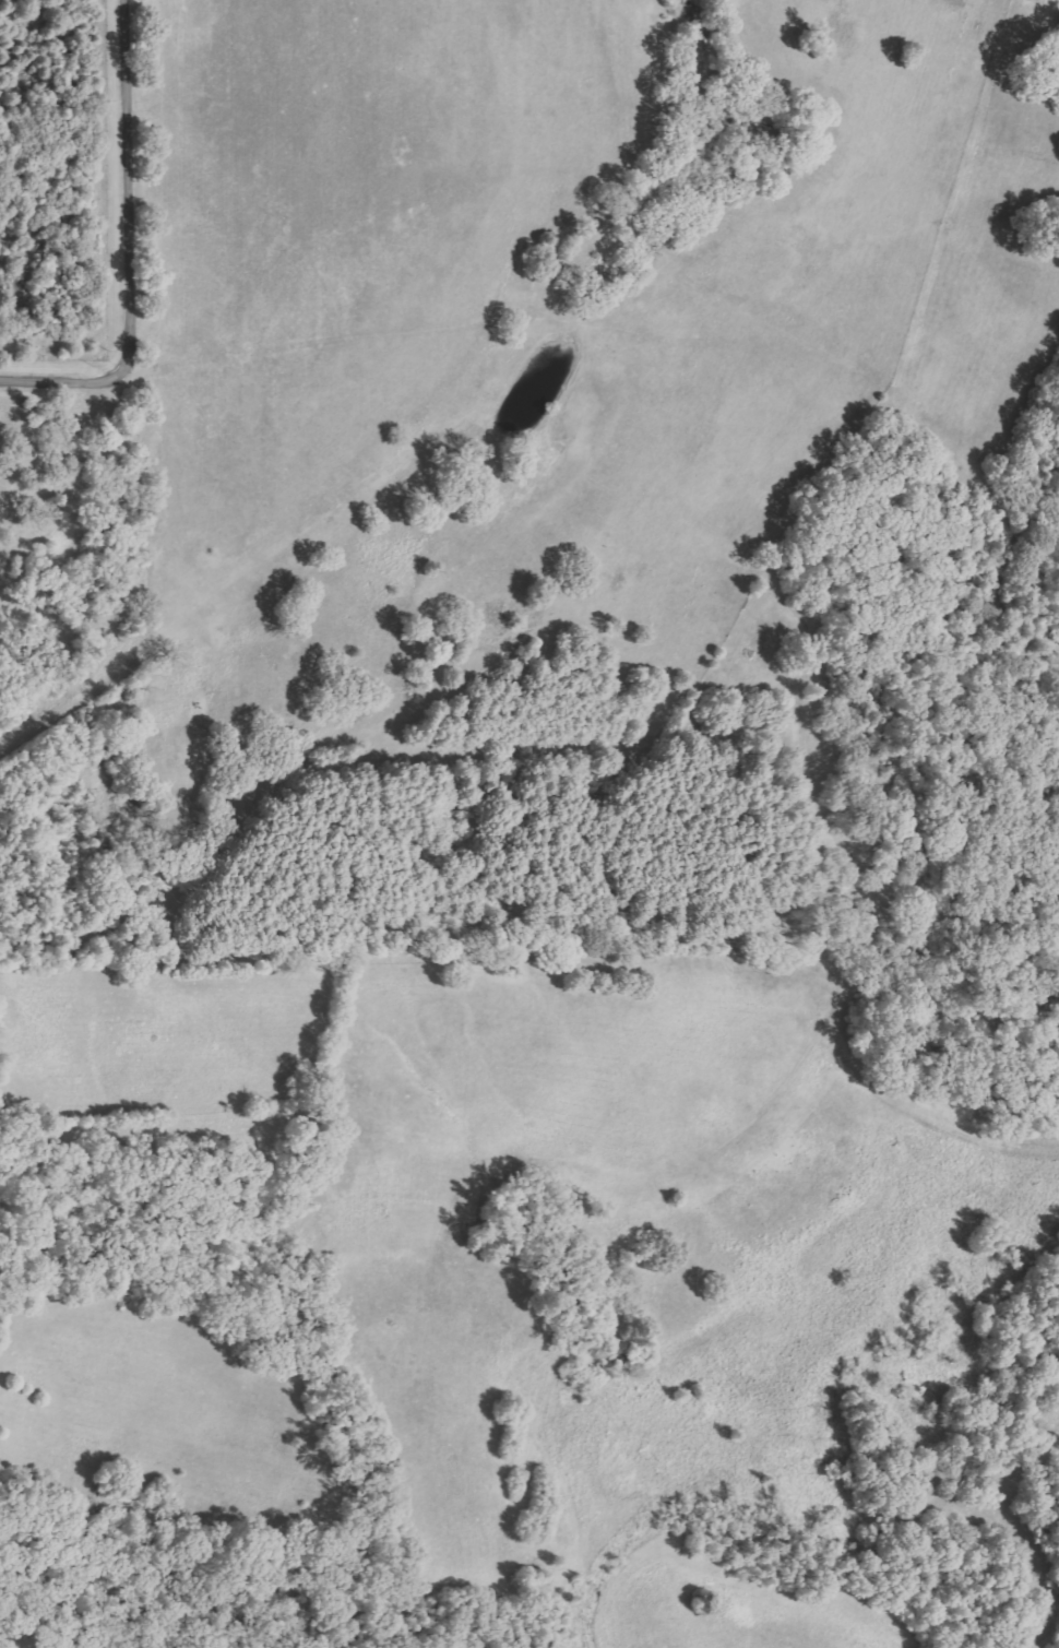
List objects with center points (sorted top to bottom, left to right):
road: (129, 250)

